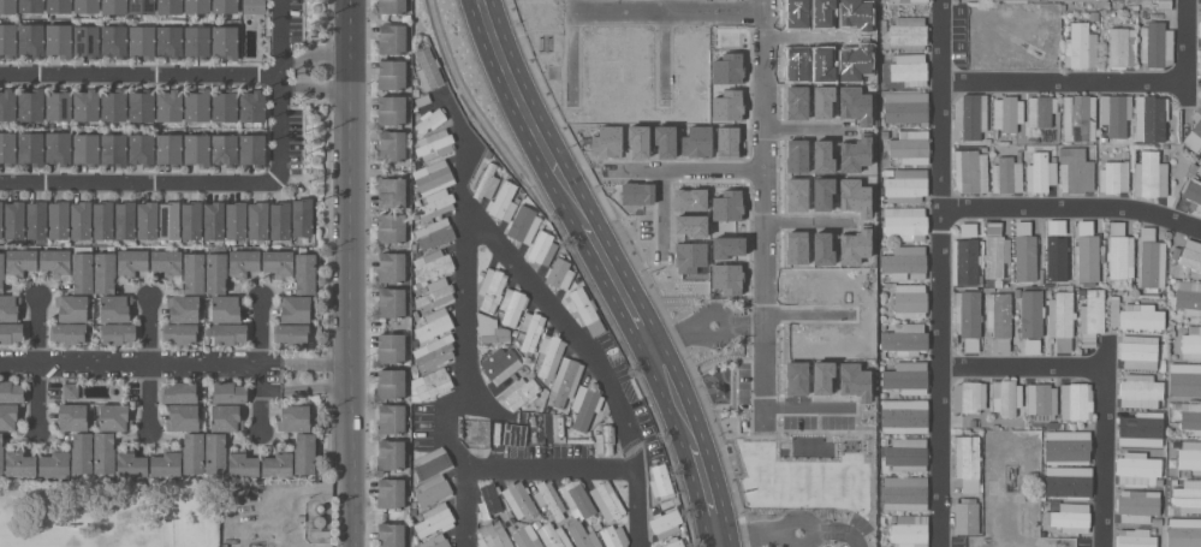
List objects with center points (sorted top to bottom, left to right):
building: (916, 0)
building: (1066, 0)
building: (1015, 1)
building: (1078, 1)
building: (1159, 2)
road: (667, 4)
building: (7, 6)
building: (30, 6)
building: (58, 6)
building: (87, 6)
building: (114, 6)
building: (142, 6)
building: (170, 6)
building: (197, 6)
building: (225, 6)
building: (254, 6)
building: (391, 6)
building: (143, 16)
building: (1199, 29)
building: (909, 31)
road: (804, 32)
building: (30, 38)
building: (59, 38)
building: (391, 38)
building: (7, 40)
building: (85, 40)
building: (113, 40)
building: (141, 40)
building: (197, 40)
building: (170, 41)
building: (224, 41)
road: (570, 43)
building: (1155, 43)
road: (661, 46)
building: (1080, 46)
building: (1118, 47)
road: (1187, 54)
building: (1200, 66)
building: (427, 69)
building: (909, 69)
road: (176, 73)
building: (391, 75)
road: (1064, 78)
road: (284, 88)
building: (7, 103)
building: (30, 103)
building: (113, 103)
building: (58, 105)
building: (85, 105)
building: (141, 105)
building: (168, 105)
building: (197, 105)
building: (224, 105)
building: (251, 105)
building: (905, 107)
building: (391, 109)
building: (1040, 109)
building: (1114, 113)
building: (970, 114)
building: (1006, 114)
building: (1078, 117)
building: (1149, 118)
building: (429, 119)
road: (805, 124)
building: (1194, 131)
building: (433, 144)
building: (392, 145)
building: (910, 145)
building: (7, 147)
building: (58, 147)
building: (30, 148)
building: (224, 148)
building: (85, 149)
building: (113, 149)
building: (141, 149)
building: (168, 149)
building: (196, 149)
building: (251, 149)
road: (685, 162)
building: (1195, 167)
building: (970, 171)
building: (1075, 171)
building: (1040, 172)
building: (1006, 174)
building: (434, 176)
building: (1114, 176)
building: (1149, 176)
road: (142, 177)
building: (486, 180)
building: (906, 185)
building: (391, 191)
building: (1193, 192)
building: (503, 201)
road: (661, 202)
building: (434, 203)
road: (763, 208)
road: (1072, 208)
building: (302, 216)
road: (804, 216)
building: (0, 219)
building: (13, 219)
building: (36, 219)
building: (58, 219)
building: (79, 219)
building: (102, 219)
building: (124, 219)
building: (147, 219)
building: (168, 220)
building: (191, 220)
building: (213, 220)
building: (234, 220)
building: (257, 220)
building: (279, 220)
building: (905, 222)
building: (523, 224)
building: (391, 227)
building: (968, 228)
building: (434, 233)
building: (541, 248)
building: (1056, 249)
building: (995, 250)
building: (1025, 251)
building: (1087, 252)
building: (1119, 252)
building: (1190, 255)
building: (1149, 260)
building: (19, 261)
building: (54, 261)
building: (131, 261)
building: (964, 261)
building: (166, 262)
building: (243, 262)
building: (278, 262)
building: (904, 262)
building: (433, 264)
building: (391, 266)
road: (610, 269)
building: (1, 270)
building: (82, 272)
building: (103, 272)
building: (194, 272)
building: (215, 272)
building: (304, 272)
road: (350, 273)
building: (559, 273)
road: (939, 273)
building: (492, 289)
building: (434, 295)
building: (1188, 296)
building: (910, 299)
building: (390, 302)
building: (512, 305)
building: (8, 307)
building: (72, 307)
building: (114, 308)
building: (183, 308)
building: (226, 308)
building: (293, 308)
building: (583, 309)
road: (804, 309)
building: (1113, 311)
building: (1031, 313)
building: (1092, 315)
building: (1141, 316)
building: (968, 317)
building: (999, 319)
building: (1062, 319)
road: (465, 321)
road: (703, 322)
building: (434, 325)
building: (530, 329)
building: (11, 332)
building: (67, 332)
building: (117, 332)
building: (179, 333)
building: (227, 333)
building: (291, 333)
building: (495, 334)
building: (904, 338)
building: (1191, 343)
building: (1030, 345)
building: (390, 347)
building: (307, 350)
building: (1138, 351)
building: (434, 352)
building: (549, 353)
road: (593, 357)
building: (500, 363)
road: (42, 364)
road: (174, 364)
road: (262, 364)
road: (153, 368)
road: (1022, 368)
building: (906, 377)
building: (1189, 379)
building: (565, 380)
building: (390, 384)
building: (434, 384)
building: (70, 390)
building: (12, 391)
building: (521, 391)
building: (1140, 391)
building: (179, 392)
building: (228, 393)
building: (969, 396)
building: (1006, 397)
building: (307, 398)
building: (1040, 398)
building: (1076, 400)
road: (804, 402)
building: (584, 405)
building: (1190, 415)
building: (8, 416)
building: (71, 416)
building: (184, 416)
building: (904, 416)
building: (113, 417)
building: (225, 417)
building: (295, 417)
building: (390, 417)
building: (1141, 428)
building: (510, 434)
building: (605, 439)
road: (1105, 445)
building: (1066, 446)
building: (81, 452)
building: (103, 452)
building: (215, 452)
building: (192, 453)
building: (304, 453)
building: (390, 454)
building: (906, 454)
building: (1, 456)
building: (1190, 456)
building: (19, 462)
building: (54, 462)
building: (131, 463)
building: (166, 463)
building: (242, 463)
building: (278, 463)
building: (432, 463)
building: (968, 463)
road: (549, 466)
building: (1137, 468)
petroleum well: (1010, 475)
building: (661, 481)
building: (1074, 481)
building: (433, 489)
building: (390, 493)
building: (904, 493)
building: (1188, 495)
building: (577, 497)
building: (519, 499)
building: (549, 499)
building: (489, 500)
building: (607, 500)
building: (1137, 504)
building: (320, 506)
storage tank: (320, 506)
building: (967, 516)
building: (1070, 516)
building: (434, 519)
building: (319, 521)
storage tank: (319, 521)
building: (665, 523)
road: (790, 528)
building: (909, 530)
building: (320, 531)
building: (1183, 531)
building: (390, 534)
building: (552, 534)
building: (493, 535)
building: (583, 536)
building: (613, 536)
building: (1135, 537)
building: (525, 539)
building: (435, 541)
building: (674, 542)
petroleum well: (255, 545)

